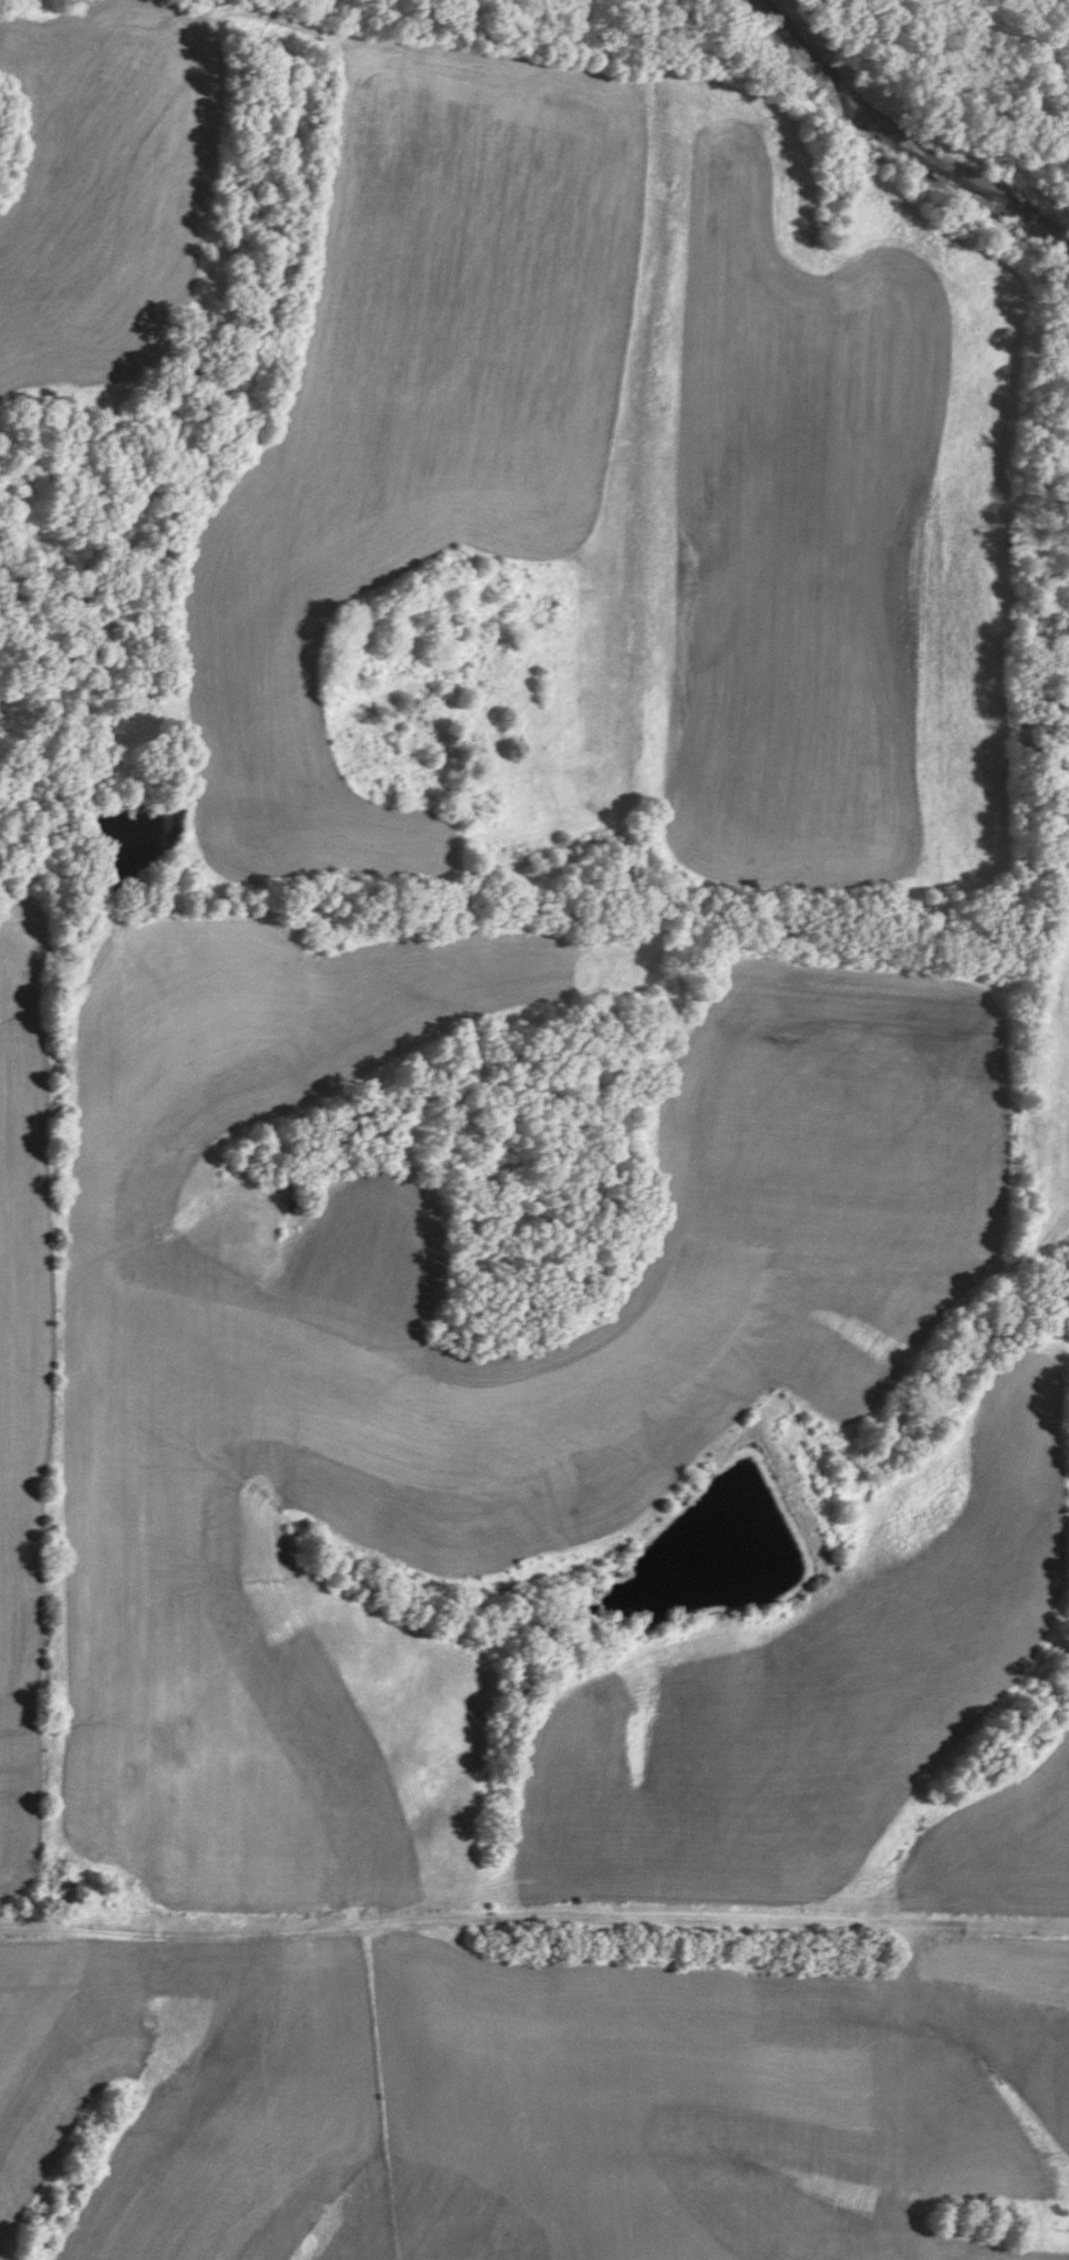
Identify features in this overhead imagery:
building: (66, 1891)

